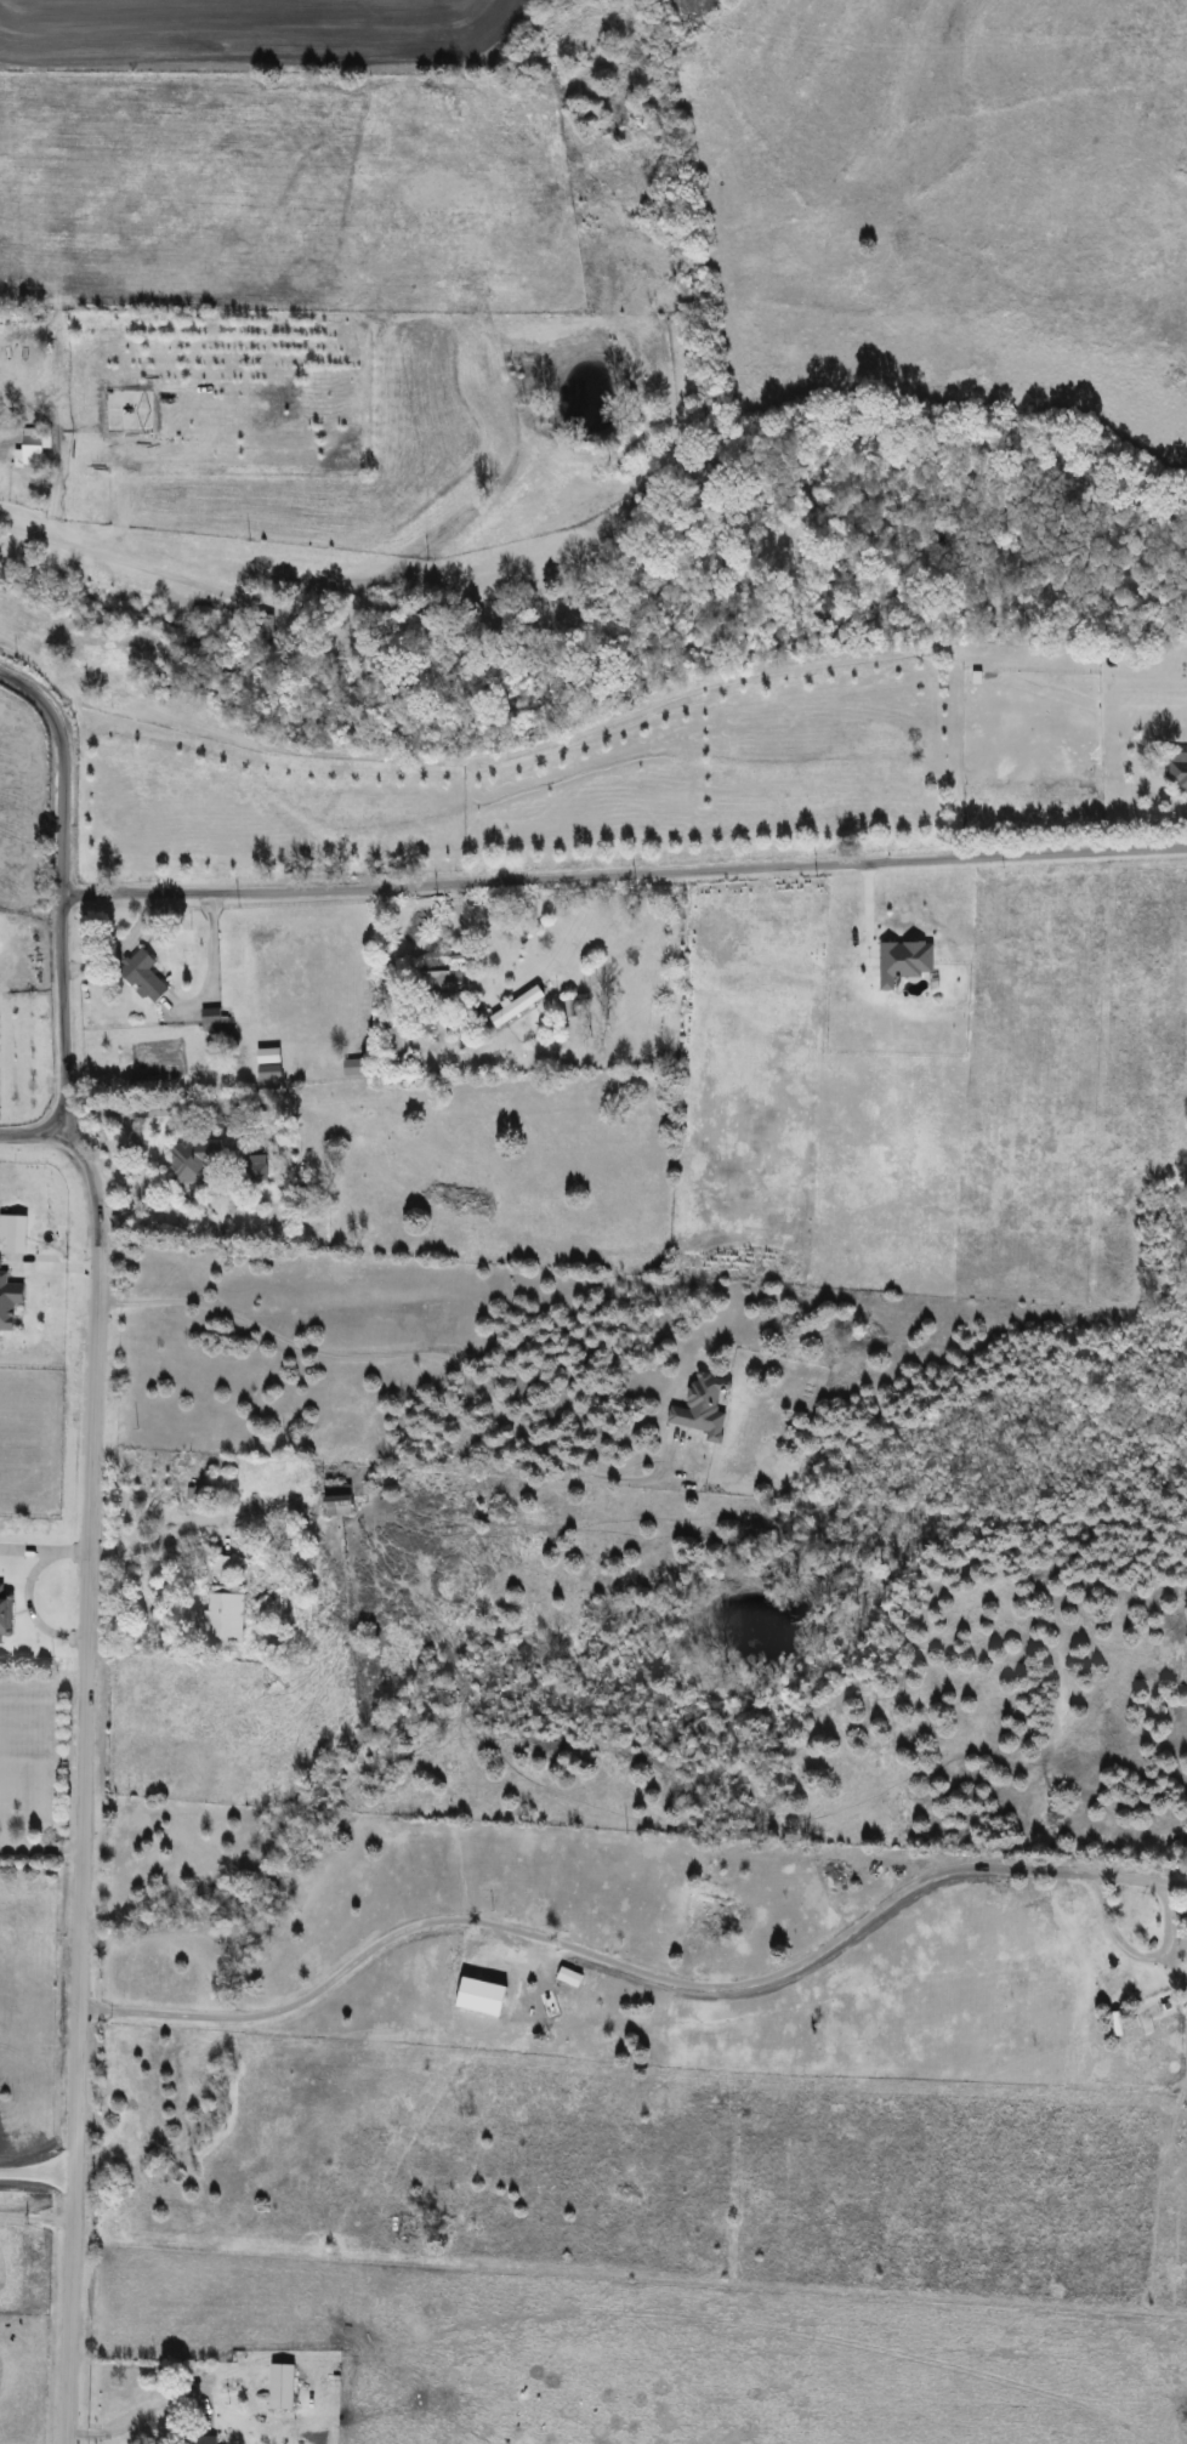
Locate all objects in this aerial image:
building: (34, 445)
road: (227, 593)
building: (984, 643)
building: (1177, 773)
road: (624, 875)
road: (61, 887)
building: (144, 976)
building: (443, 977)
building: (518, 1006)
building: (212, 1019)
building: (353, 1067)
road: (29, 1133)
road: (138, 1148)
building: (195, 1161)
building: (257, 1167)
road: (411, 1355)
building: (704, 1406)
building: (339, 1500)
road: (148, 1540)
building: (225, 1564)
road: (25, 1586)
building: (5, 1612)
building: (226, 1614)
road: (85, 1779)
road: (41, 1851)
building: (1186, 1934)
road: (613, 1963)
road: (40, 2024)
road: (36, 2221)
building: (283, 2386)
road: (160, 2406)
building: (201, 2439)

